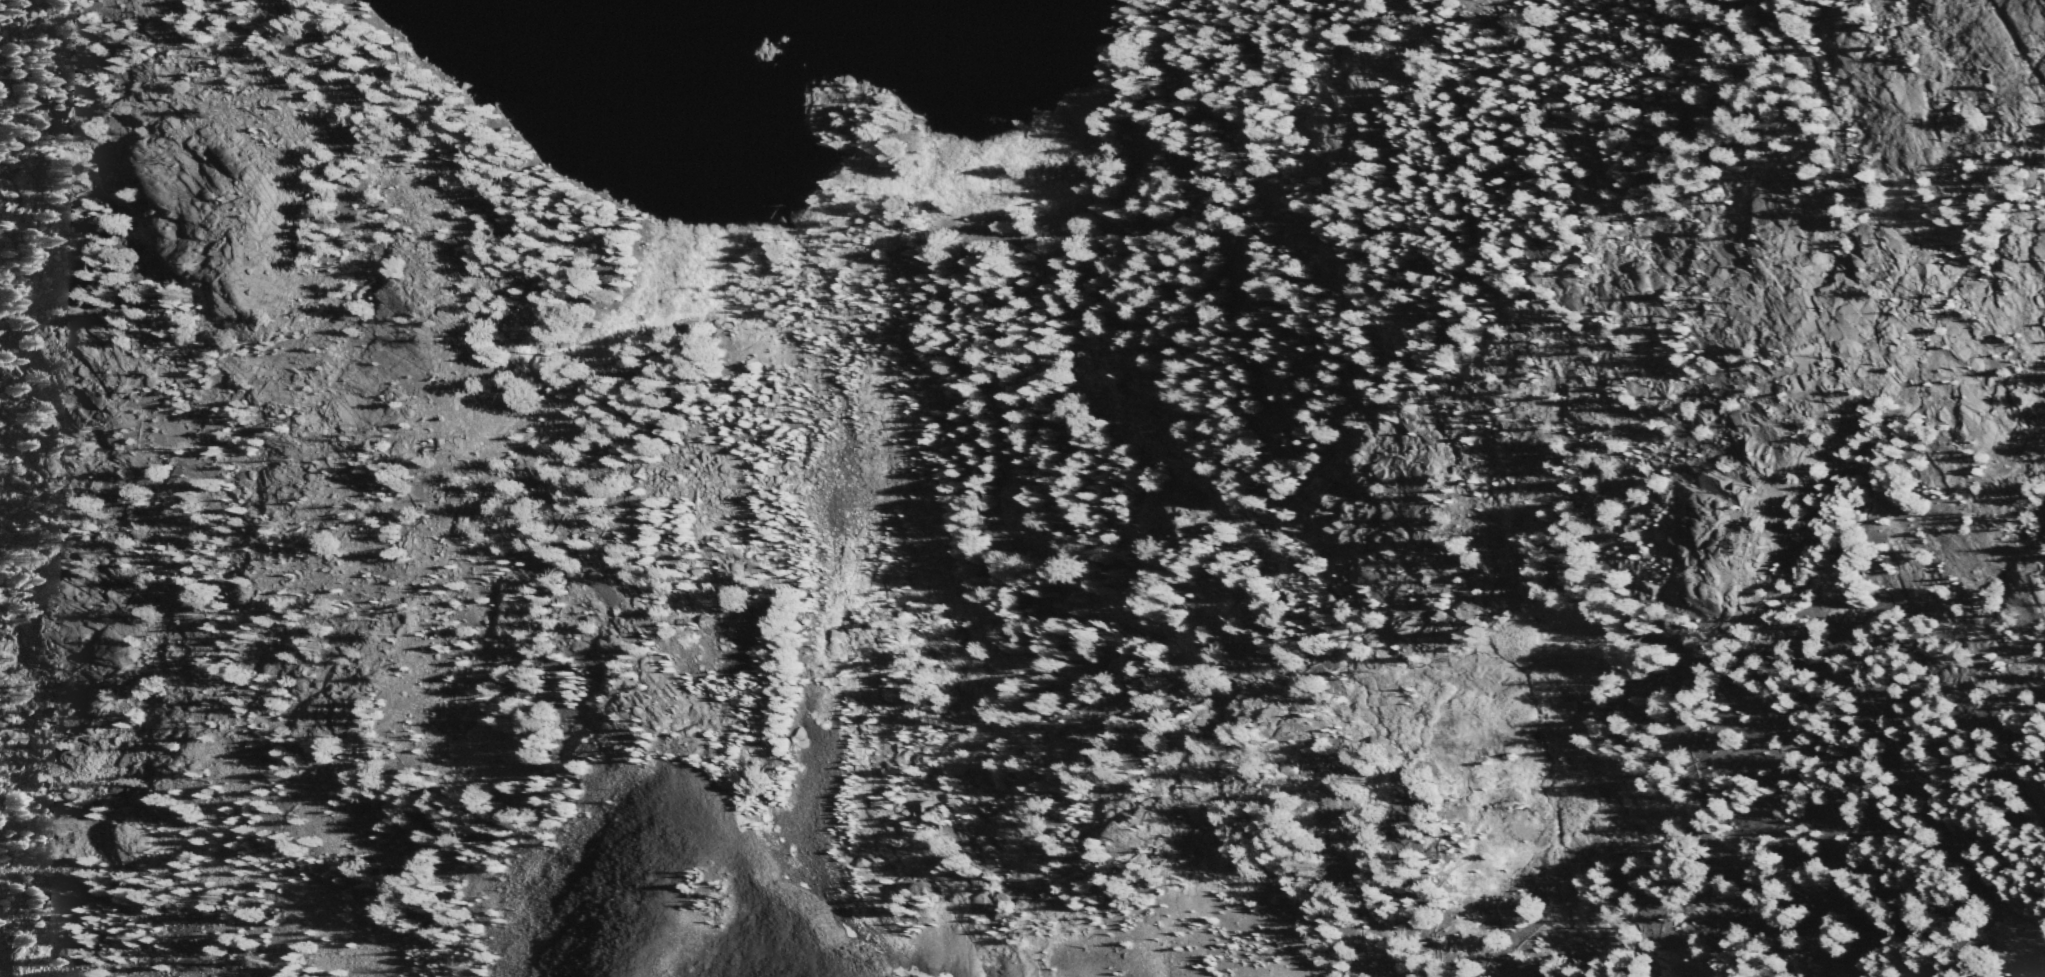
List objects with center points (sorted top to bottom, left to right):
road: (811, 314)

